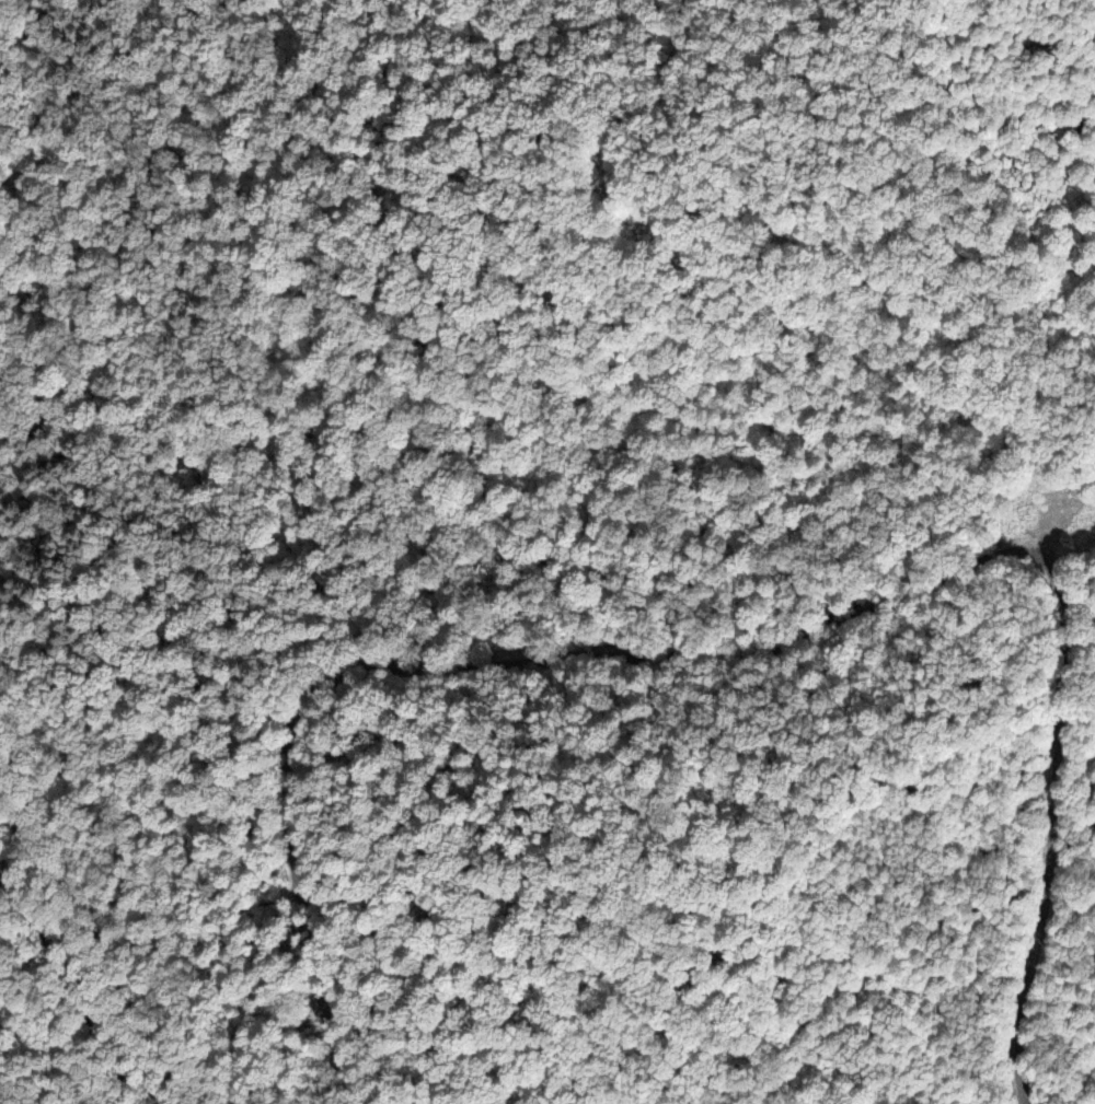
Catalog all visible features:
road: (451, 660)
road: (1052, 820)
road: (82, 985)

